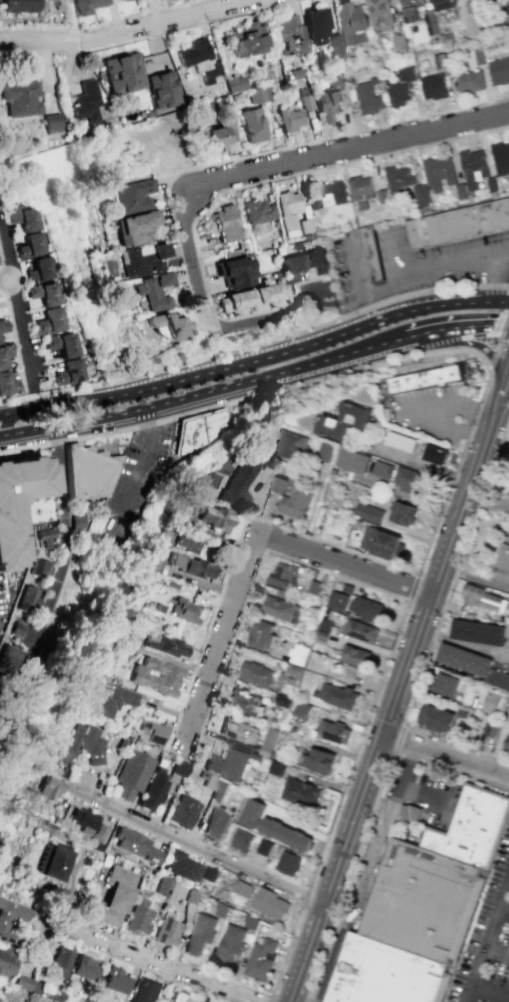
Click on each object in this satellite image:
building: (114, 0)
building: (442, 4)
building: (86, 5)
building: (16, 6)
building: (410, 10)
building: (379, 14)
building: (350, 22)
building: (430, 22)
building: (508, 22)
road: (100, 24)
building: (315, 26)
road: (127, 29)
road: (146, 35)
building: (290, 35)
building: (246, 40)
building: (336, 46)
building: (193, 52)
building: (439, 61)
building: (498, 71)
building: (122, 72)
building: (208, 72)
building: (468, 81)
building: (235, 83)
building: (401, 87)
building: (433, 87)
building: (162, 89)
building: (259, 93)
building: (368, 97)
building: (20, 98)
building: (85, 102)
building: (305, 102)
building: (327, 105)
building: (289, 119)
building: (51, 123)
building: (251, 125)
building: (220, 132)
road: (334, 135)
road: (292, 162)
building: (472, 168)
building: (438, 172)
building: (397, 178)
road: (177, 188)
road: (231, 188)
building: (133, 194)
building: (328, 194)
building: (419, 194)
building: (257, 210)
building: (287, 211)
building: (24, 217)
building: (225, 223)
building: (457, 223)
building: (136, 227)
building: (31, 245)
building: (372, 253)
building: (143, 259)
parking lot: (460, 260)
building: (315, 261)
road: (434, 265)
building: (290, 266)
road: (353, 266)
building: (40, 269)
building: (233, 271)
road: (6, 280)
road: (495, 280)
road: (386, 288)
building: (153, 291)
building: (43, 293)
building: (268, 293)
road: (333, 301)
road: (19, 318)
road: (250, 320)
building: (50, 321)
building: (2, 325)
building: (166, 325)
road: (503, 326)
road: (425, 330)
road: (503, 341)
road: (14, 342)
road: (255, 342)
building: (61, 343)
road: (477, 346)
building: (4, 353)
road: (273, 354)
road: (492, 355)
building: (68, 371)
building: (425, 379)
building: (7, 384)
road: (504, 390)
road: (173, 400)
road: (26, 411)
road: (497, 412)
road: (418, 413)
road: (8, 414)
parking lot: (431, 415)
road: (148, 417)
building: (345, 421)
building: (200, 429)
road: (491, 429)
road: (467, 431)
building: (399, 441)
building: (288, 444)
building: (326, 451)
building: (434, 454)
building: (353, 460)
building: (380, 469)
building: (88, 471)
building: (410, 481)
parking lot: (138, 483)
road: (136, 485)
building: (291, 495)
road: (487, 507)
building: (368, 513)
building: (401, 513)
building: (214, 517)
building: (80, 521)
building: (8, 533)
building: (47, 536)
building: (380, 542)
building: (187, 543)
building: (159, 549)
road: (249, 553)
building: (503, 563)
building: (189, 565)
building: (41, 566)
road: (63, 572)
building: (283, 575)
road: (475, 578)
road: (413, 587)
road: (376, 588)
building: (29, 598)
building: (482, 598)
parking lot: (2, 599)
building: (337, 601)
building: (367, 608)
building: (281, 609)
building: (183, 610)
road: (437, 623)
building: (18, 628)
building: (360, 630)
building: (478, 632)
building: (262, 634)
building: (164, 645)
building: (298, 654)
building: (356, 656)
building: (12, 659)
building: (463, 659)
building: (255, 674)
building: (290, 674)
building: (154, 675)
building: (497, 679)
building: (444, 684)
building: (336, 695)
building: (109, 700)
building: (244, 701)
building: (494, 701)
building: (302, 710)
building: (436, 718)
road: (386, 720)
building: (490, 728)
building: (238, 730)
building: (333, 731)
building: (151, 732)
building: (270, 737)
building: (507, 743)
building: (81, 745)
road: (446, 753)
building: (317, 760)
building: (227, 763)
building: (178, 767)
building: (131, 774)
parking lot: (436, 781)
building: (47, 785)
building: (215, 787)
building: (153, 789)
building: (301, 792)
road: (421, 794)
building: (182, 811)
building: (410, 812)
building: (83, 819)
road: (369, 819)
building: (216, 823)
building: (273, 825)
building: (137, 846)
road: (204, 851)
building: (267, 851)
building: (52, 861)
building: (184, 866)
road: (364, 872)
building: (209, 873)
building: (436, 880)
building: (242, 888)
building: (114, 897)
road: (304, 897)
building: (269, 904)
road: (502, 914)
building: (137, 916)
building: (5, 918)
building: (166, 931)
building: (200, 933)
road: (487, 937)
parking lot: (487, 940)
building: (230, 944)
road: (496, 953)
building: (260, 958)
building: (62, 961)
building: (7, 962)
road: (154, 962)
building: (86, 967)
road: (202, 969)
road: (153, 972)
building: (387, 974)
building: (117, 980)
building: (26, 983)
building: (145, 990)
road: (490, 993)
building: (177, 996)
road: (268, 998)
building: (14, 1000)
building: (44, 1000)

